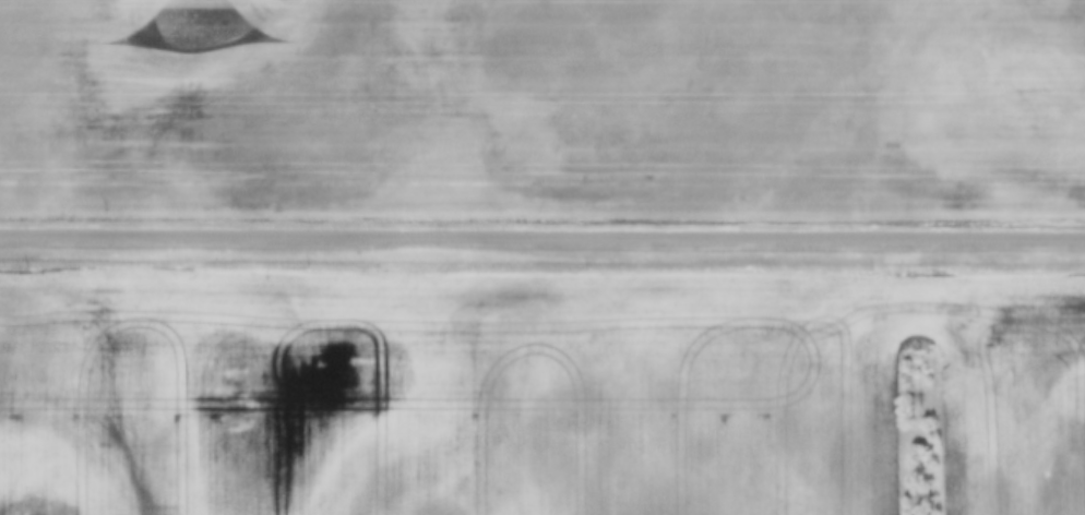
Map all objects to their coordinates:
road: (541, 235)

